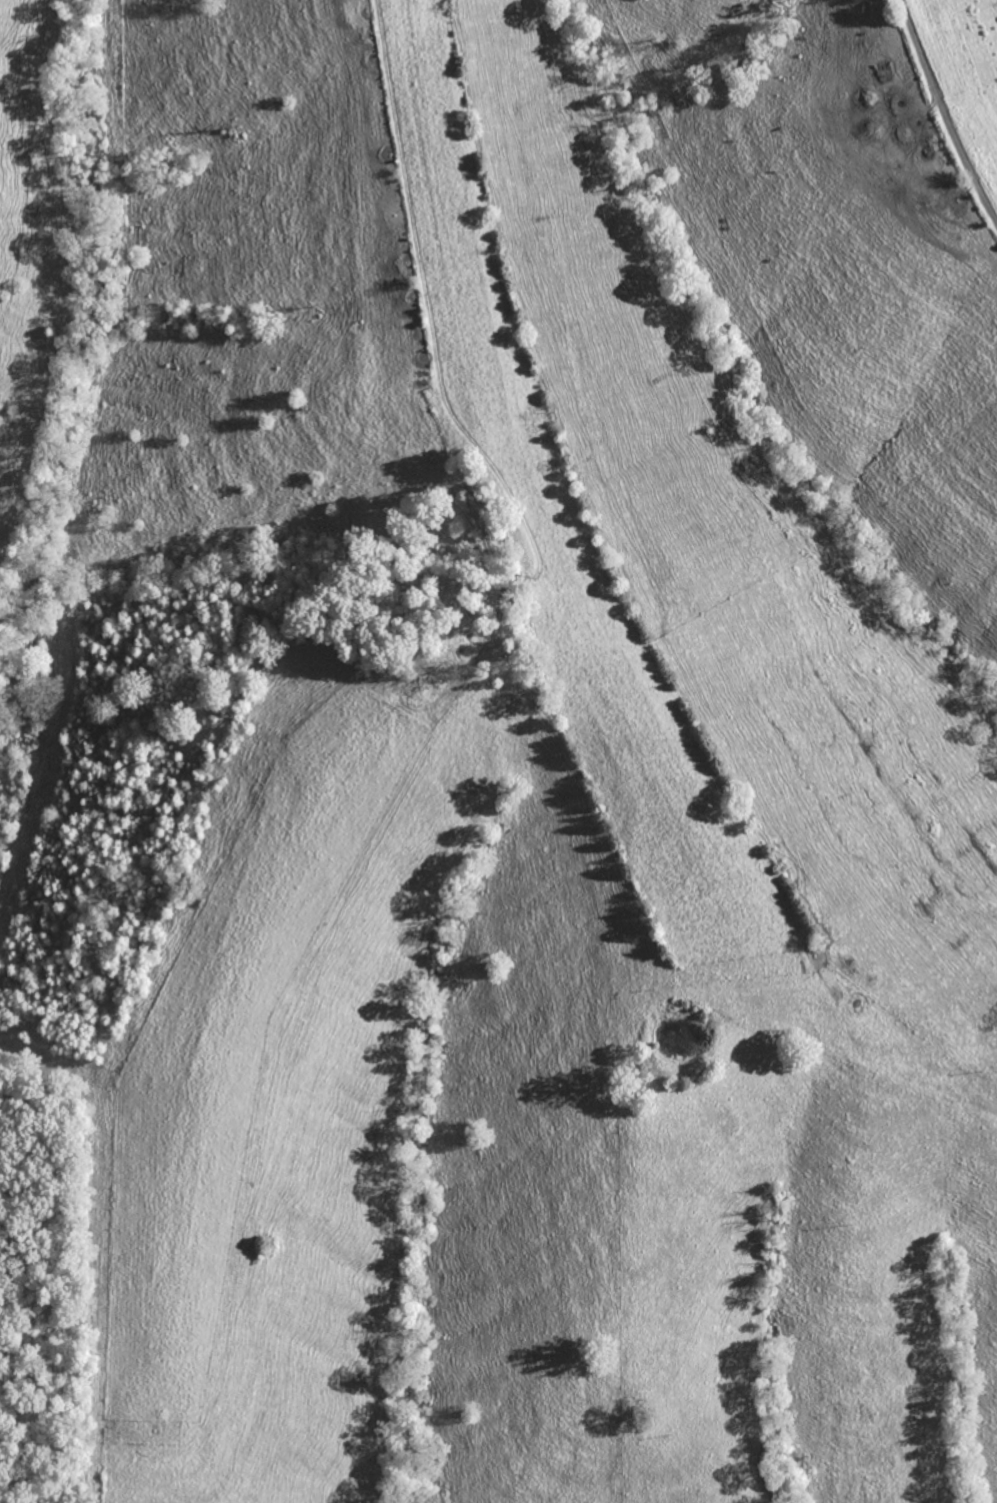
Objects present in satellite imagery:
road: (943, 113)

